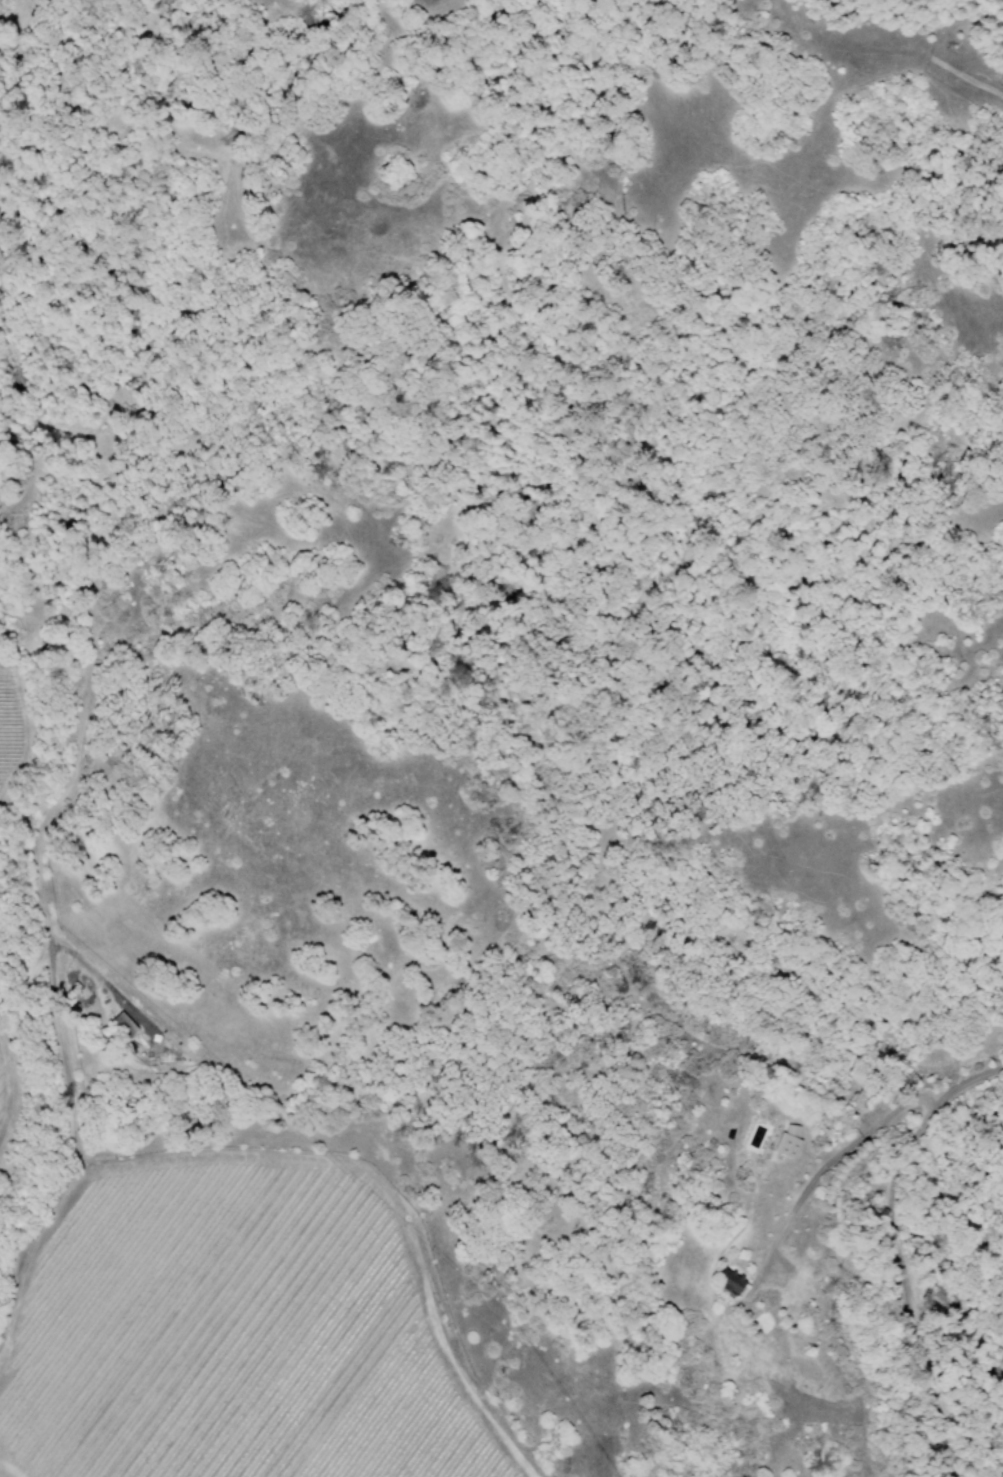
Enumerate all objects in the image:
building: (122, 1025)
building: (785, 1142)
road: (906, 1254)
building: (726, 1284)

